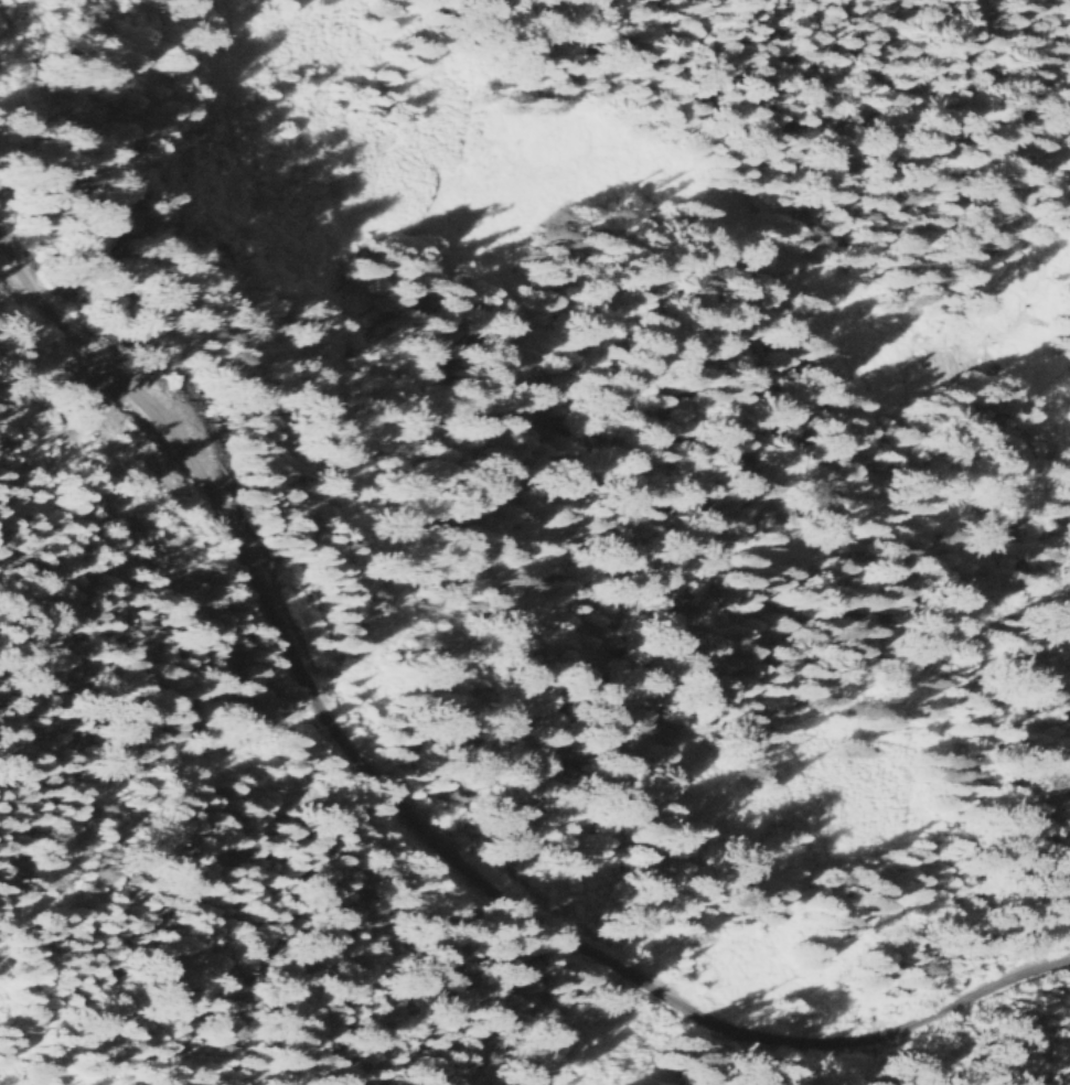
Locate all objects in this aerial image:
road: (415, 840)

